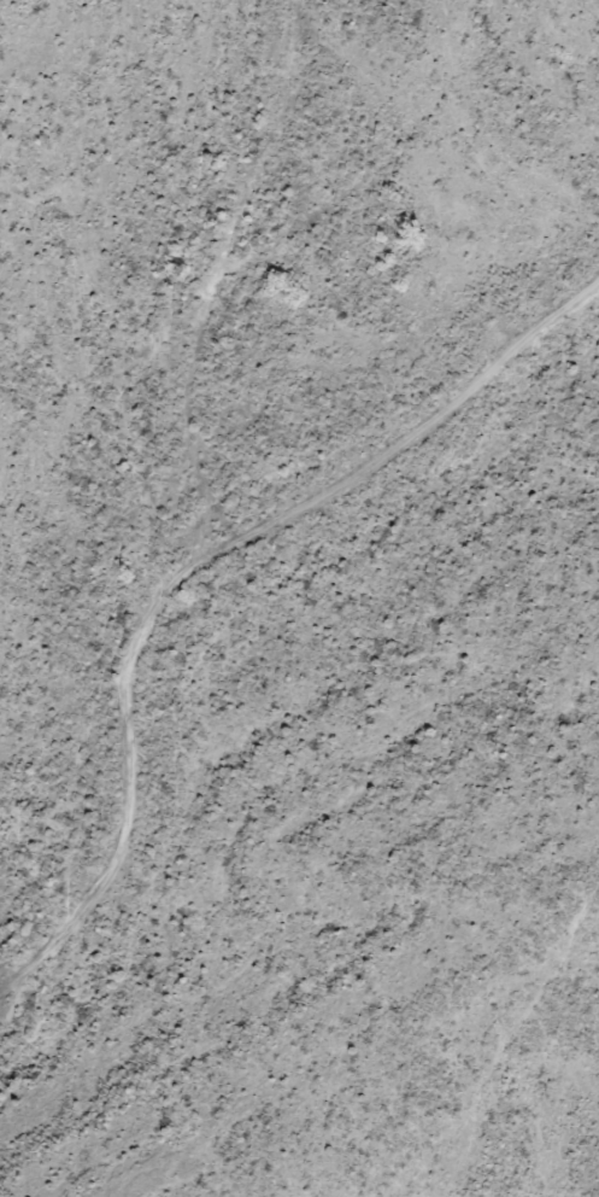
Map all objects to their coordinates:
road: (162, 460)
road: (511, 1008)

